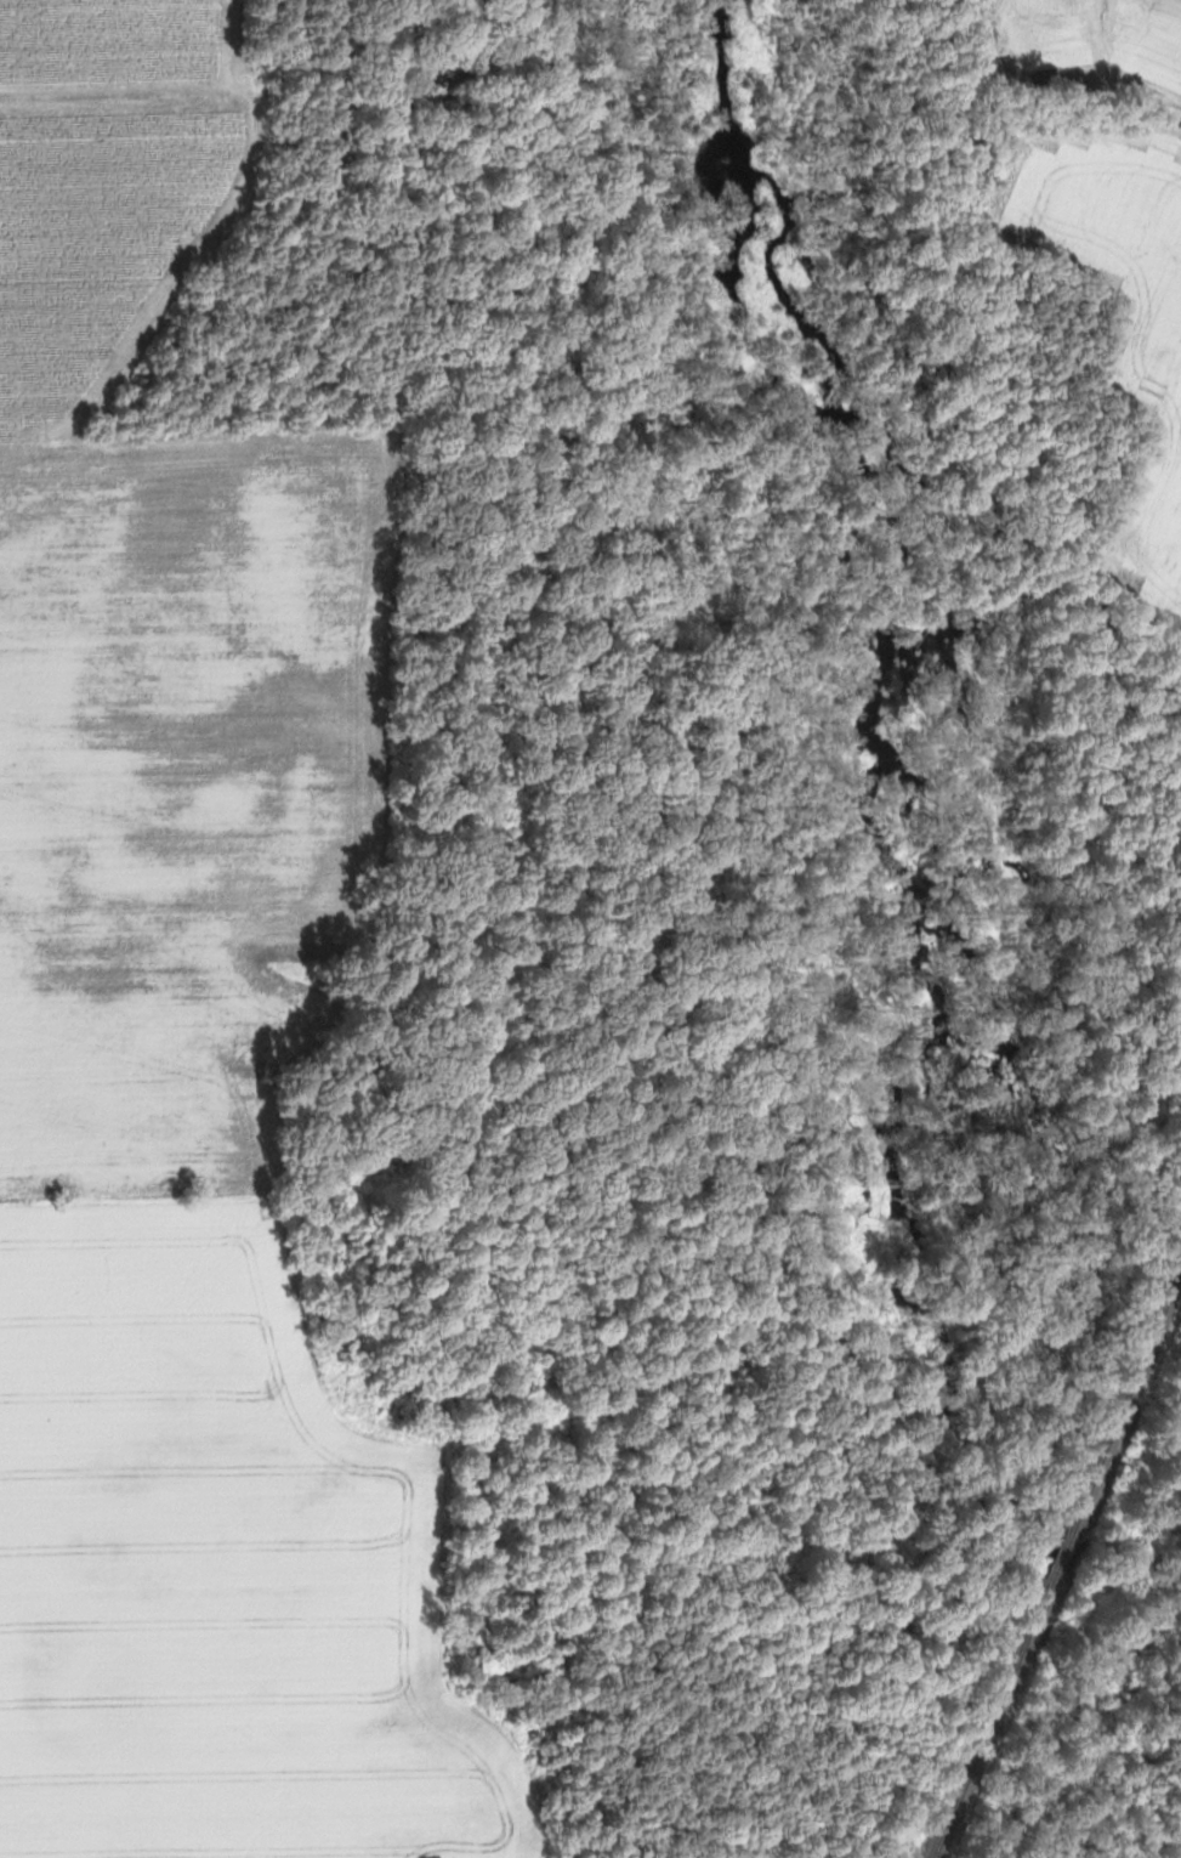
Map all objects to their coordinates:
railway: (1126, 1394)
railway: (1061, 1553)
railway: (992, 1718)

